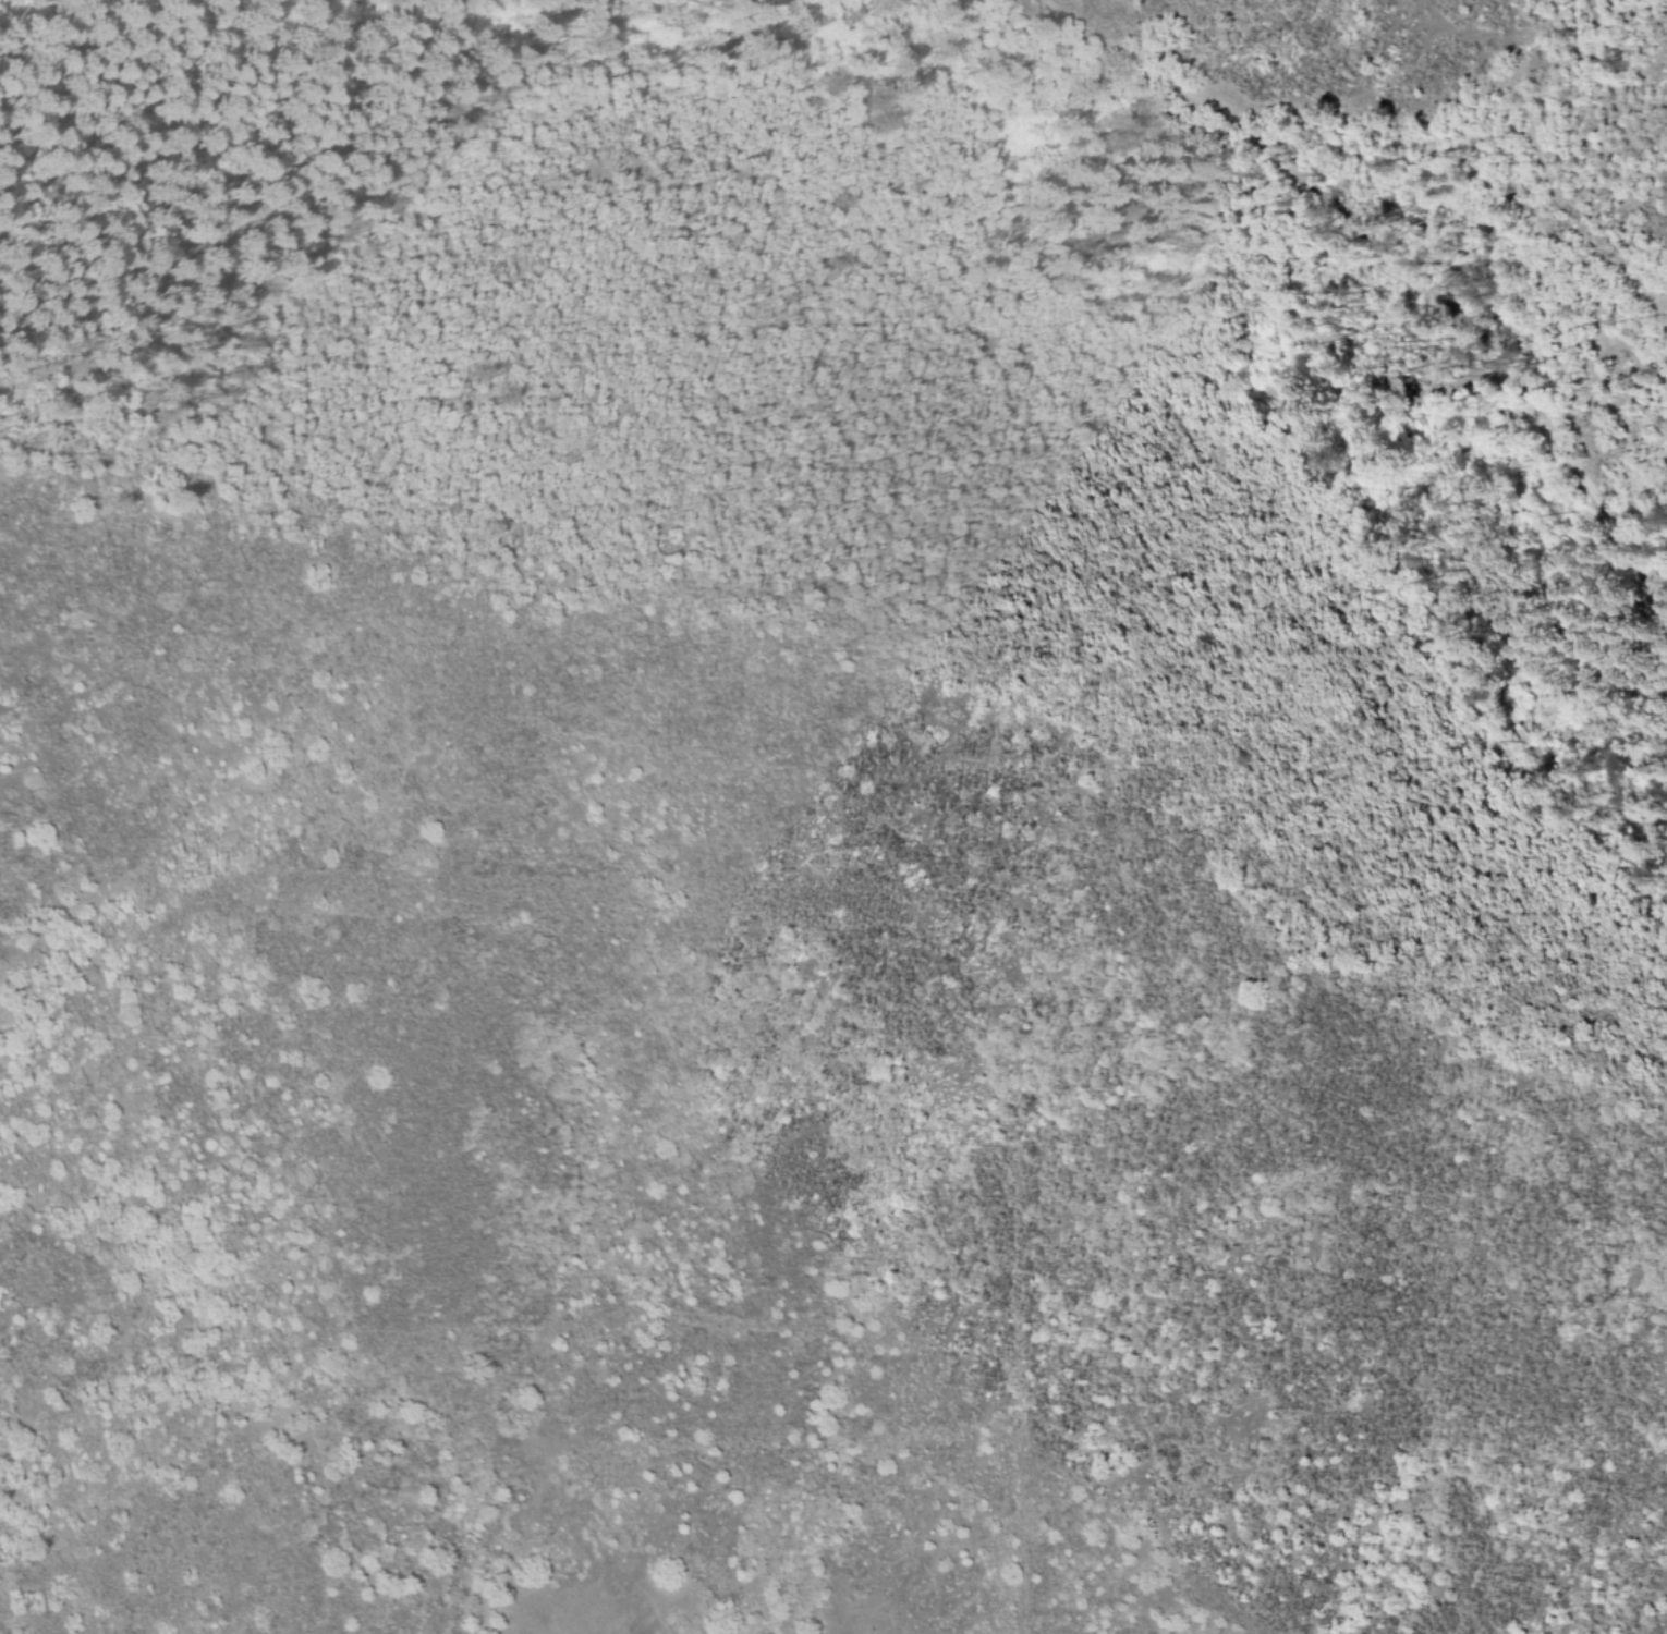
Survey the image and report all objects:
road: (1401, 251)

